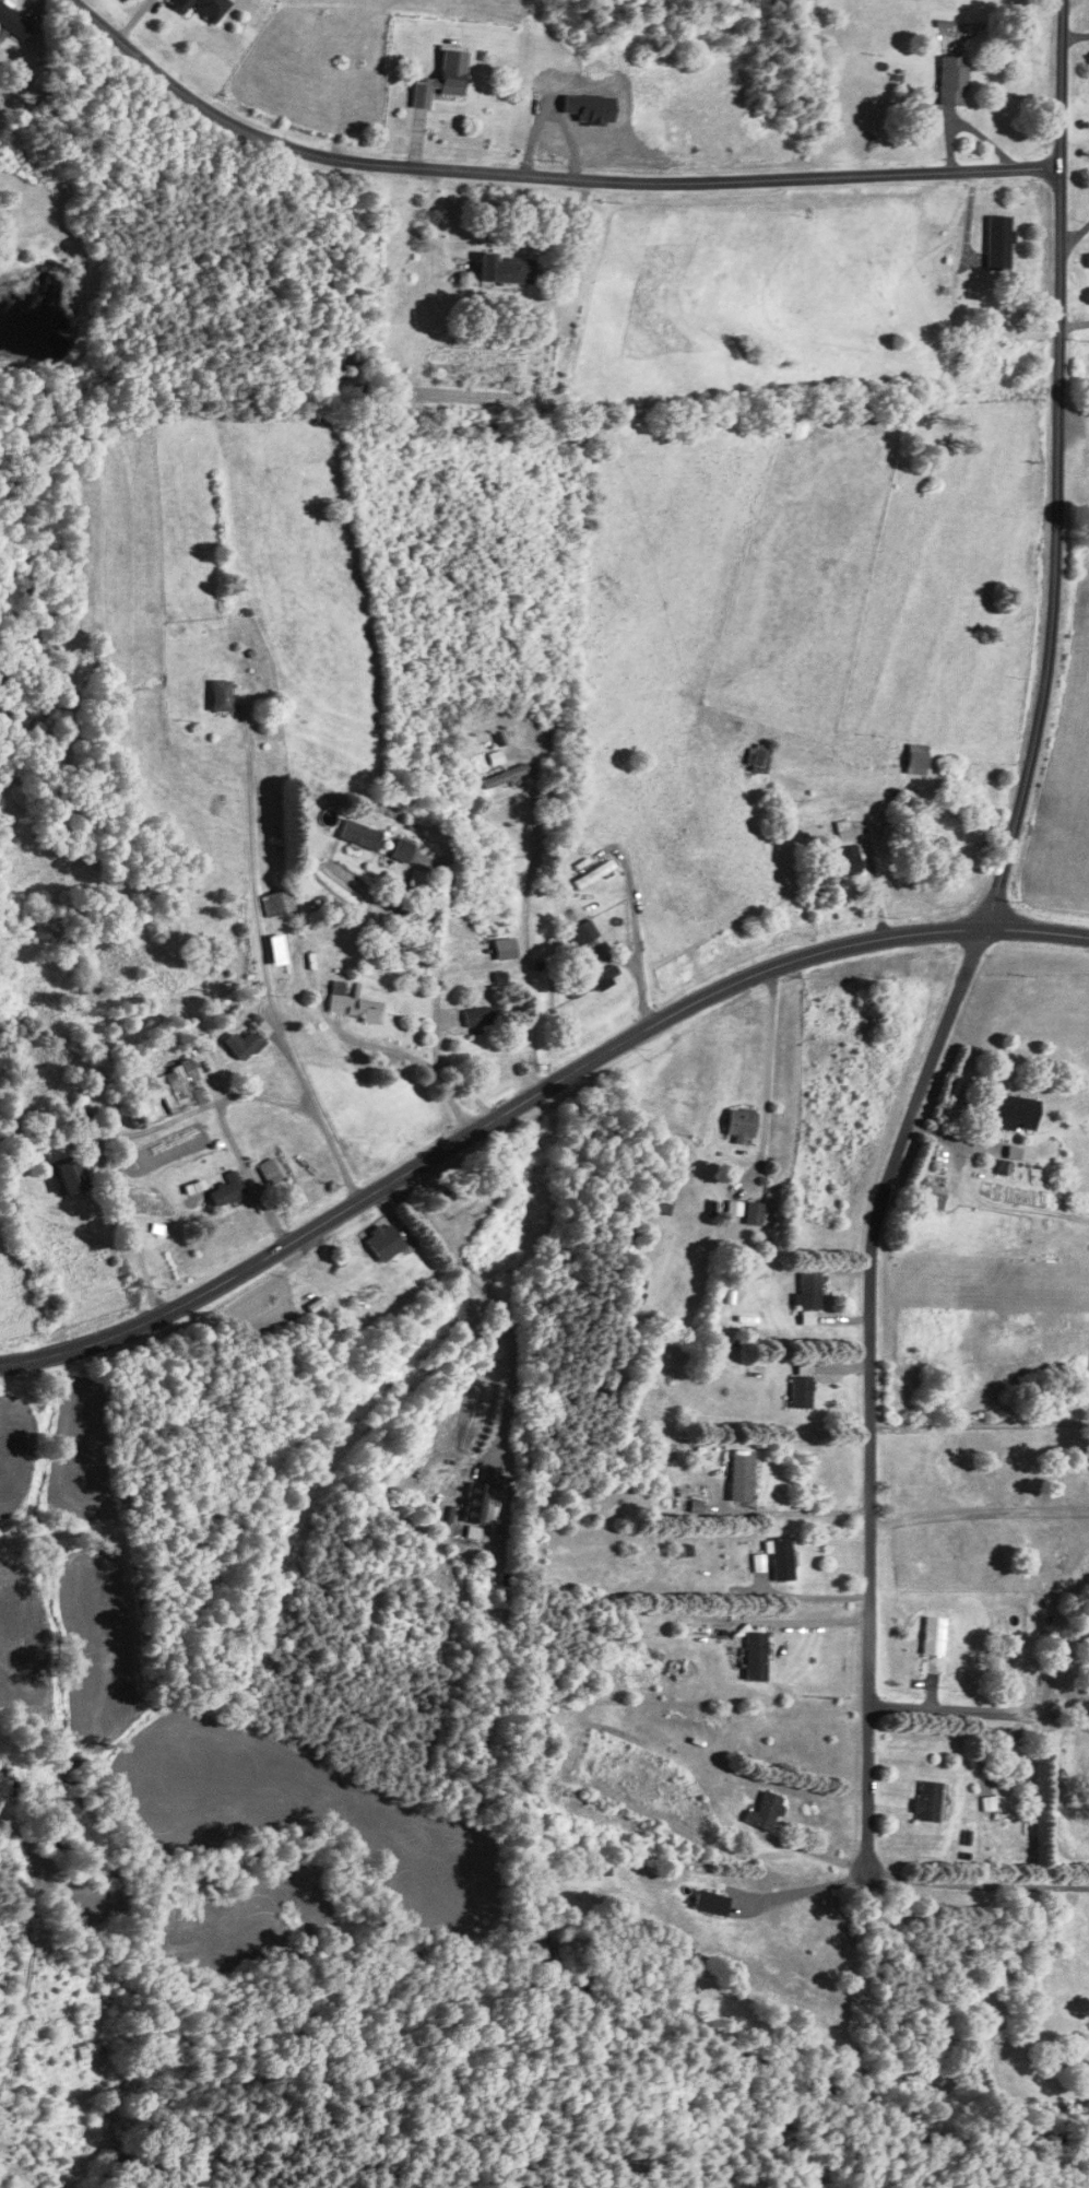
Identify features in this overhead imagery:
building: (202, 8)
building: (13, 24)
road: (1075, 35)
building: (441, 80)
building: (952, 80)
road: (541, 175)
road: (576, 230)
road: (1074, 236)
building: (997, 242)
building: (506, 267)
building: (339, 362)
road: (1056, 468)
building: (220, 694)
building: (494, 757)
building: (758, 757)
building: (916, 757)
building: (504, 775)
building: (359, 834)
building: (401, 849)
building: (843, 851)
building: (592, 873)
building: (379, 899)
building: (276, 903)
building: (413, 914)
building: (490, 919)
road: (524, 933)
building: (580, 933)
building: (504, 949)
road: (262, 961)
building: (591, 983)
building: (352, 1003)
building: (477, 1017)
road: (452, 1020)
building: (241, 1045)
road: (768, 1061)
building: (179, 1085)
road: (529, 1096)
building: (1014, 1110)
building: (85, 1122)
building: (741, 1125)
building: (268, 1172)
building: (71, 1177)
building: (226, 1189)
building: (931, 1196)
road: (976, 1199)
building: (383, 1242)
building: (808, 1295)
building: (800, 1385)
road: (872, 1388)
road: (346, 1409)
road: (980, 1423)
building: (739, 1475)
building: (480, 1505)
road: (980, 1508)
road: (794, 1513)
building: (781, 1560)
road: (804, 1621)
building: (932, 1636)
building: (754, 1656)
road: (1055, 1662)
building: (224, 1677)
road: (954, 1710)
road: (1065, 1721)
building: (926, 1801)
building: (765, 1812)
road: (976, 1883)
road: (807, 1887)
building: (709, 1902)

